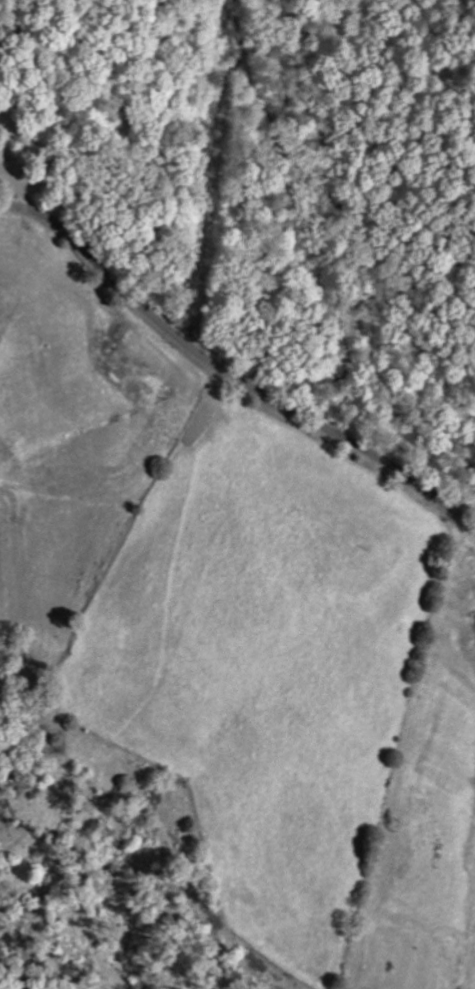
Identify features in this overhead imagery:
road: (228, 374)

